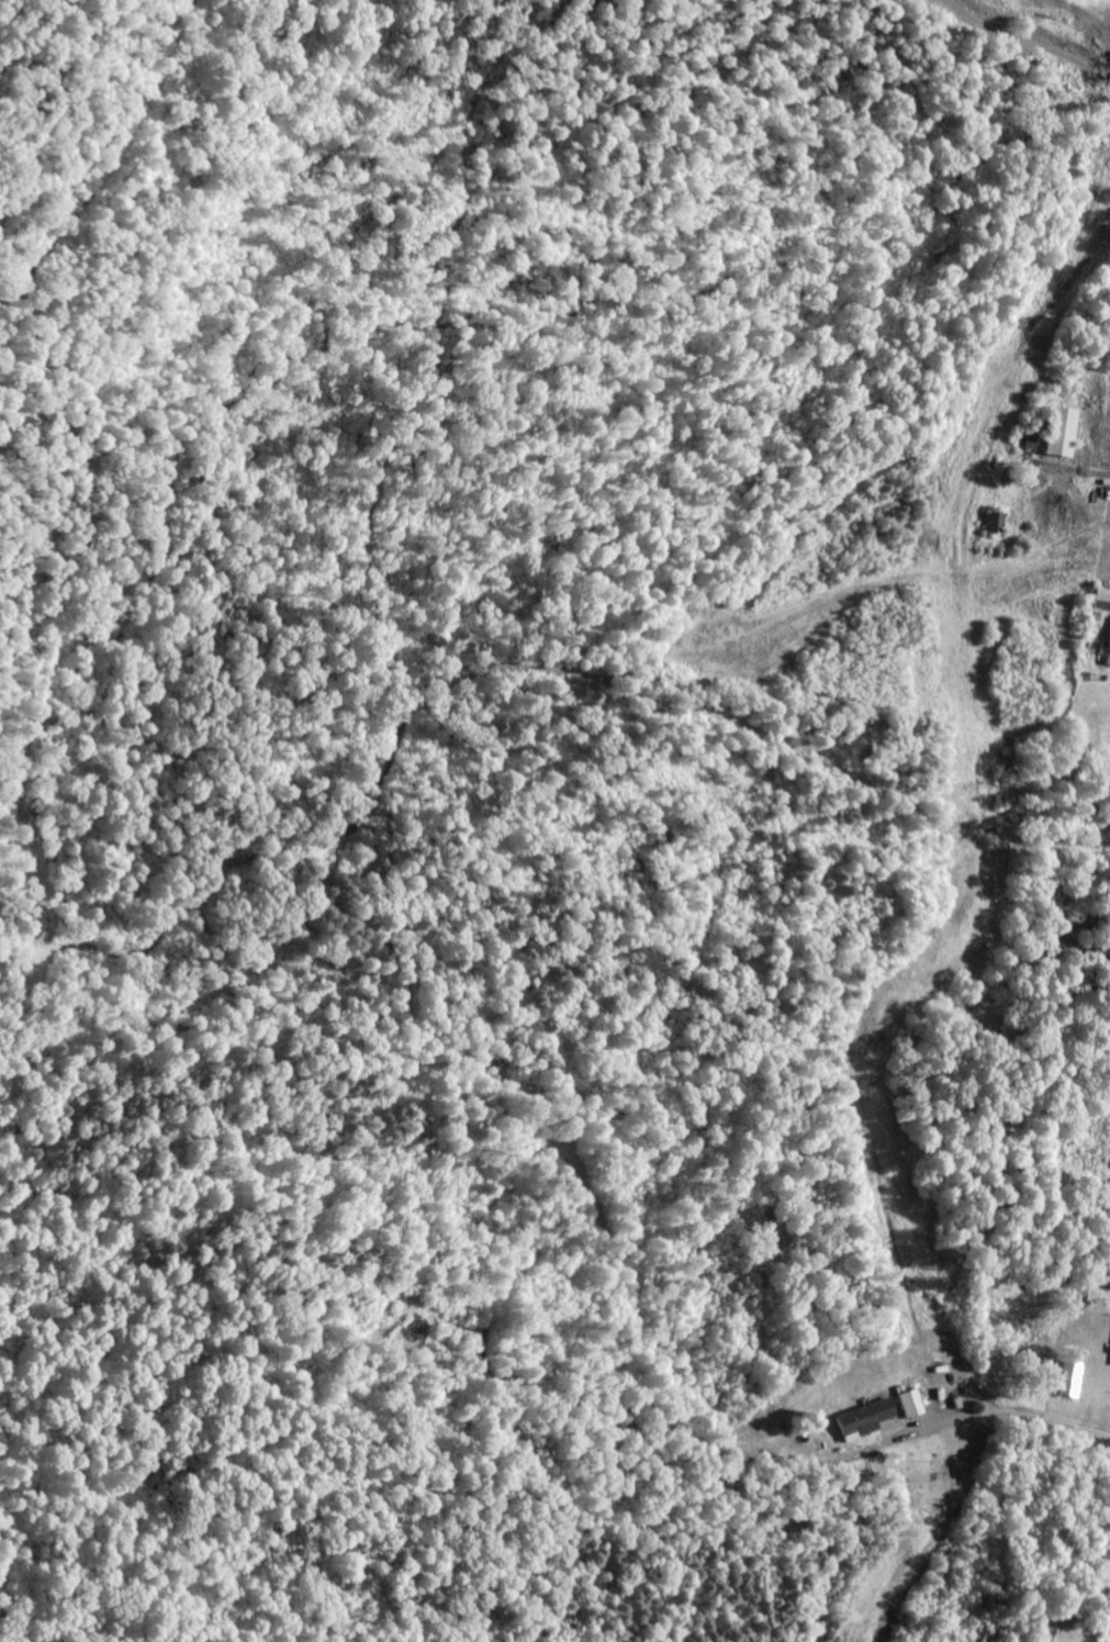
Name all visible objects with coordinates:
building: (1066, 433)
building: (997, 524)
building: (1103, 600)
building: (1108, 658)
building: (1073, 1379)
building: (913, 1405)
road: (1002, 1415)
building: (867, 1420)

